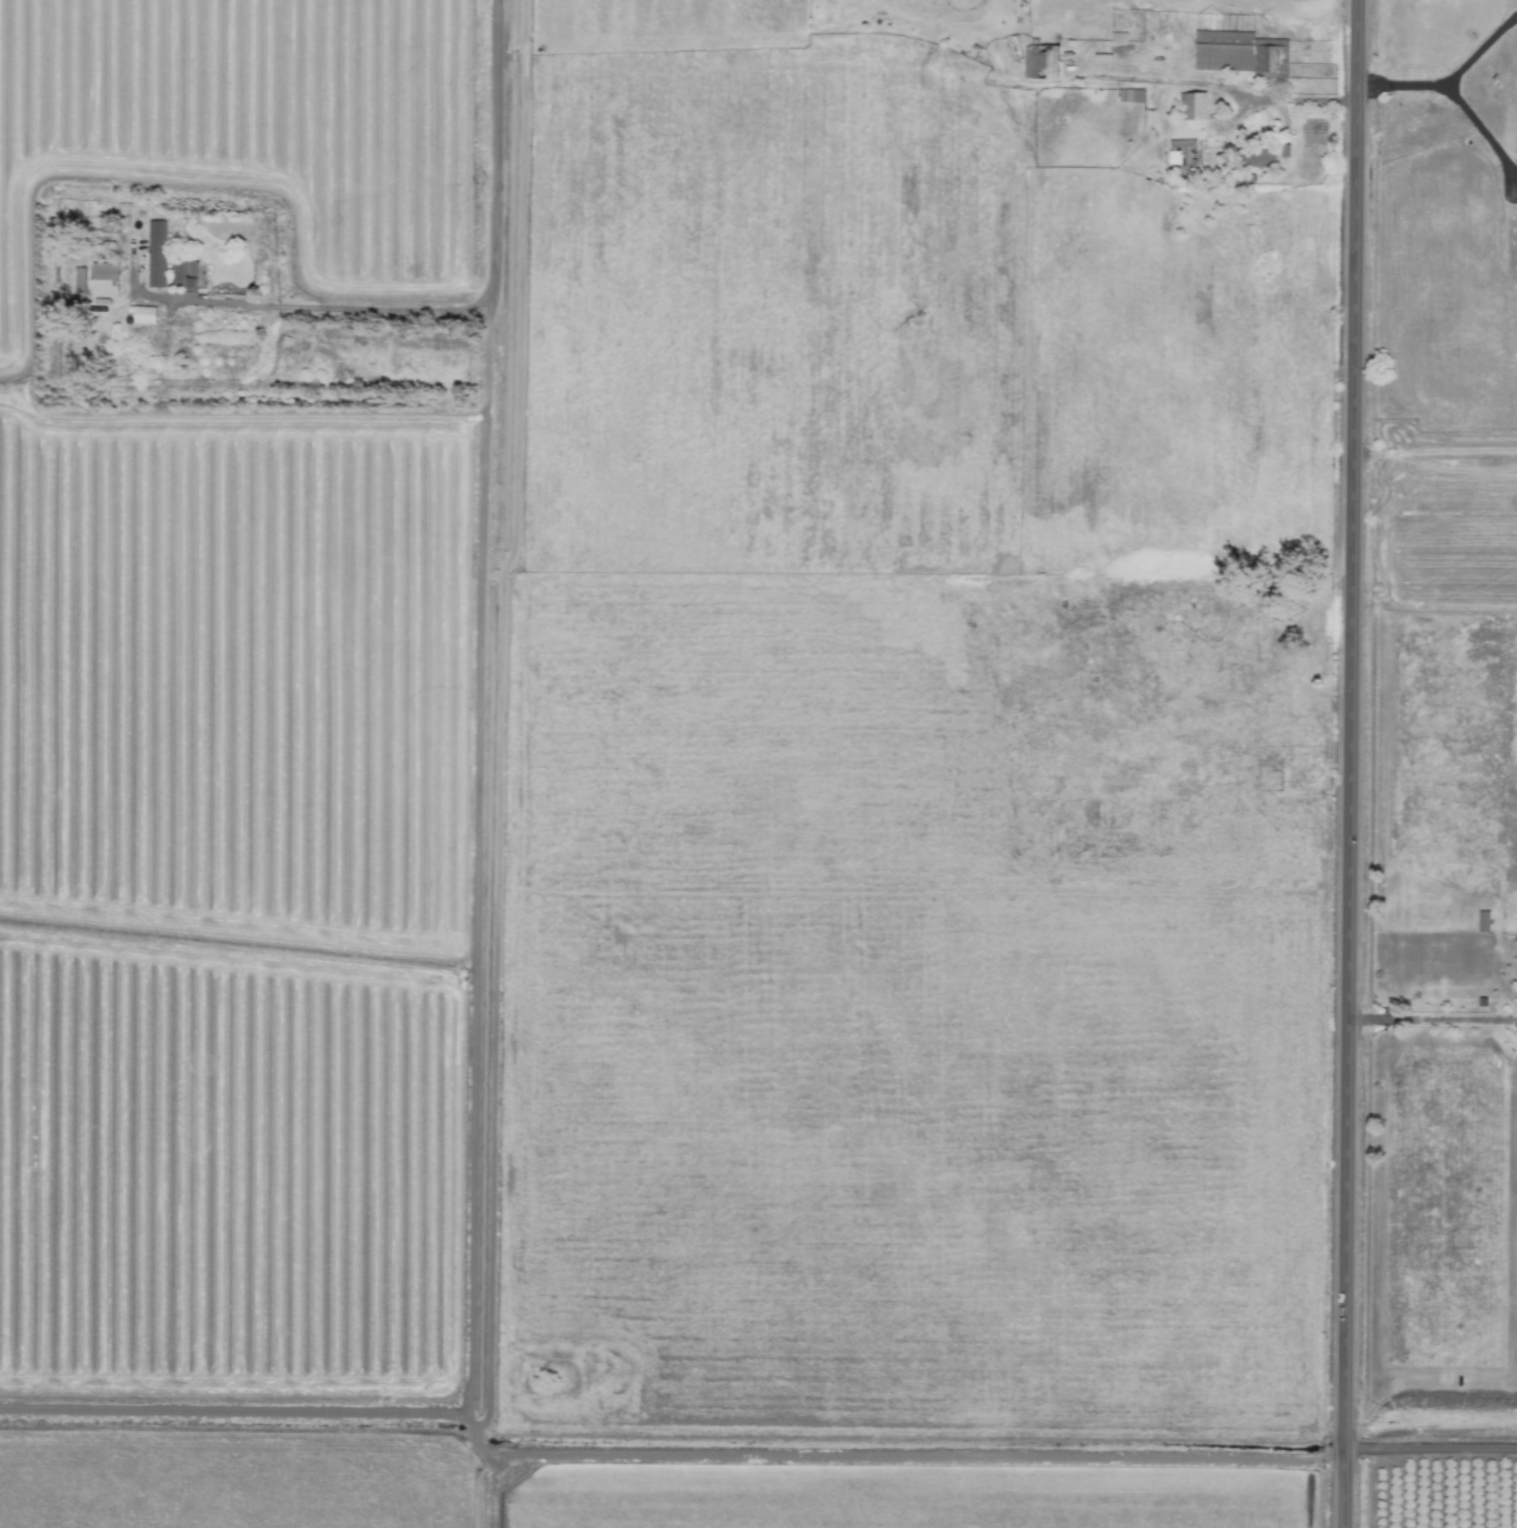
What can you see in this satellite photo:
building: (1241, 54)
building: (1040, 60)
road: (1391, 82)
road: (1224, 85)
road: (1439, 89)
building: (1193, 105)
building: (1183, 155)
building: (1261, 158)
building: (1241, 181)
building: (156, 254)
building: (192, 267)
road: (515, 278)
building: (79, 279)
building: (104, 279)
road: (487, 294)
building: (142, 315)
road: (1238, 595)
road: (1345, 764)
building: (1483, 921)
road: (1428, 1017)
road: (1429, 1451)
road: (659, 1460)

